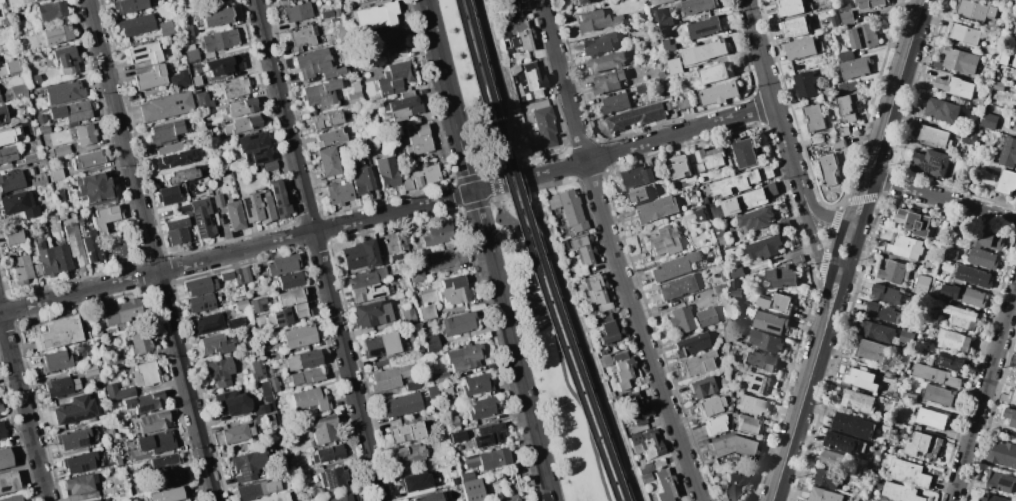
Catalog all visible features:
building: (34, 0)
building: (36, 0)
building: (2, 1)
building: (283, 1)
building: (202, 2)
building: (583, 2)
building: (659, 2)
building: (871, 4)
building: (129, 5)
building: (697, 6)
building: (517, 8)
building: (790, 8)
building: (52, 10)
building: (975, 11)
building: (297, 12)
building: (337, 13)
building: (182, 14)
building: (327, 14)
building: (845, 15)
building: (377, 16)
building: (213, 17)
building: (506, 17)
building: (661, 19)
building: (593, 20)
building: (616, 20)
building: (835, 21)
building: (137, 25)
building: (166, 27)
building: (704, 27)
building: (795, 28)
building: (186, 32)
building: (57, 34)
building: (963, 34)
building: (867, 35)
building: (524, 36)
building: (833, 37)
building: (303, 38)
building: (320, 38)
building: (855, 39)
building: (219, 40)
building: (390, 41)
building: (600, 44)
building: (668, 45)
building: (800, 49)
building: (709, 51)
road: (760, 52)
building: (145, 53)
building: (192, 53)
building: (846, 55)
building: (67, 60)
building: (960, 60)
building: (608, 62)
building: (1014, 62)
building: (229, 64)
building: (317, 65)
building: (12, 66)
building: (674, 66)
building: (855, 68)
building: (515, 69)
building: (192, 71)
building: (717, 73)
building: (661, 75)
building: (397, 77)
building: (151, 78)
building: (35, 79)
building: (180, 79)
building: (535, 80)
building: (200, 81)
building: (609, 81)
park: (487, 83)
building: (805, 84)
building: (664, 86)
building: (955, 86)
building: (998, 86)
building: (848, 87)
building: (235, 88)
building: (642, 88)
road: (895, 88)
building: (20, 92)
building: (64, 92)
road: (499, 92)
building: (321, 93)
building: (718, 93)
building: (828, 93)
building: (355, 99)
building: (204, 100)
building: (683, 101)
building: (615, 104)
building: (669, 105)
building: (167, 106)
building: (404, 106)
building: (848, 107)
building: (240, 108)
building: (943, 110)
building: (73, 111)
building: (3, 115)
building: (386, 115)
building: (635, 117)
building: (814, 118)
building: (42, 119)
building: (325, 119)
building: (989, 120)
building: (1008, 121)
building: (241, 126)
building: (545, 126)
building: (45, 129)
building: (166, 132)
building: (85, 134)
building: (11, 135)
rooftop solar panel: (255, 135)
building: (330, 137)
building: (935, 137)
building: (419, 138)
building: (816, 139)
building: (968, 139)
building: (253, 141)
building: (372, 143)
building: (212, 144)
building: (838, 145)
road: (787, 147)
building: (169, 149)
rooftop solar panel: (258, 150)
building: (62, 151)
building: (1004, 151)
building: (745, 153)
building: (8, 154)
building: (257, 156)
building: (31, 158)
building: (431, 158)
building: (87, 159)
building: (175, 159)
rooftop solar panel: (258, 159)
building: (709, 159)
rooftop solar panel: (935, 161)
building: (330, 162)
building: (929, 163)
building: (20, 164)
building: (270, 166)
building: (680, 167)
rooftop solar panel: (924, 168)
building: (827, 169)
building: (210, 171)
building: (387, 172)
road: (544, 172)
building: (179, 174)
building: (420, 177)
building: (638, 177)
building: (58, 178)
building: (361, 178)
building: (11, 180)
building: (39, 181)
building: (741, 181)
building: (1006, 183)
building: (95, 189)
building: (339, 193)
building: (643, 194)
building: (169, 195)
building: (192, 195)
building: (218, 200)
building: (228, 200)
building: (280, 200)
building: (751, 200)
road: (942, 200)
building: (706, 201)
building: (19, 204)
road: (860, 204)
building: (257, 207)
building: (184, 209)
building: (569, 209)
building: (657, 210)
building: (235, 215)
building: (700, 215)
road: (822, 215)
building: (62, 217)
building: (202, 217)
building: (106, 218)
building: (54, 219)
building: (756, 219)
building: (912, 222)
road: (826, 227)
traffic signals: (828, 228)
building: (177, 231)
building: (437, 234)
building: (720, 235)
building: (14, 236)
road: (812, 236)
building: (404, 237)
building: (988, 240)
building: (664, 241)
building: (74, 243)
building: (564, 245)
road: (836, 246)
building: (91, 247)
building: (765, 247)
building: (904, 248)
park: (120, 249)
building: (584, 249)
road: (151, 250)
road: (316, 250)
road: (487, 250)
road: (853, 251)
railway: (530, 252)
railway: (539, 252)
road: (615, 252)
building: (360, 255)
building: (950, 255)
building: (61, 257)
building: (398, 257)
building: (446, 258)
building: (983, 258)
building: (46, 260)
road: (524, 260)
building: (796, 260)
building: (284, 265)
building: (929, 266)
building: (673, 267)
building: (22, 270)
building: (37, 271)
road: (155, 272)
building: (891, 272)
building: (737, 273)
building: (381, 274)
building: (416, 274)
building: (226, 275)
building: (246, 275)
building: (723, 275)
building: (971, 276)
building: (238, 277)
building: (781, 277)
building: (361, 279)
building: (290, 281)
building: (200, 285)
building: (732, 285)
building: (921, 285)
building: (677, 288)
building: (259, 290)
building: (454, 290)
building: (721, 291)
building: (370, 292)
building: (945, 292)
building: (598, 293)
building: (736, 293)
building: (886, 294)
building: (968, 296)
building: (291, 297)
building: (205, 302)
building: (776, 303)
building: (242, 304)
building: (257, 304)
building: (122, 311)
building: (298, 311)
building: (592, 311)
building: (427, 312)
building: (374, 313)
building: (882, 313)
building: (226, 315)
building: (408, 316)
building: (278, 317)
building: (706, 317)
building: (735, 317)
building: (961, 317)
building: (726, 318)
building: (681, 319)
building: (234, 323)
building: (459, 323)
building: (770, 323)
building: (208, 324)
building: (609, 329)
road: (538, 330)
building: (725, 331)
building: (878, 332)
building: (58, 333)
building: (96, 333)
building: (734, 333)
road: (576, 334)
building: (299, 337)
building: (905, 337)
building: (139, 340)
building: (765, 341)
building: (953, 341)
building: (431, 343)
building: (691, 344)
building: (215, 345)
building: (380, 345)
building: (420, 347)
building: (871, 351)
building: (276, 356)
building: (465, 357)
park: (564, 358)
building: (754, 359)
building: (56, 361)
building: (116, 361)
building: (302, 361)
building: (605, 361)
building: (950, 362)
rooftop solar panel: (216, 364)
building: (698, 364)
building: (769, 364)
building: (624, 365)
building: (91, 371)
building: (258, 371)
building: (220, 372)
building: (145, 374)
building: (936, 375)
building: (306, 377)
building: (442, 377)
rooftop solar panel: (756, 377)
rooftop solar panel: (216, 378)
building: (390, 378)
building: (861, 379)
building: (1015, 380)
building: (274, 384)
building: (477, 384)
building: (759, 384)
road: (805, 384)
building: (412, 385)
building: (623, 385)
rooftop solar panel: (752, 385)
building: (61, 386)
building: (703, 387)
building: (448, 390)
building: (118, 392)
building: (266, 392)
building: (938, 395)
road: (983, 396)
building: (909, 397)
building: (1006, 397)
building: (310, 399)
building: (1013, 399)
building: (450, 400)
building: (858, 401)
building: (144, 403)
building: (232, 403)
rooftop solar panel: (127, 405)
building: (402, 405)
building: (750, 405)
building: (712, 406)
building: (1, 408)
road: (23, 408)
rooftop solar panel: (145, 408)
building: (483, 408)
road: (581, 408)
building: (638, 408)
building: (261, 409)
building: (67, 413)
building: (428, 416)
building: (1010, 417)
building: (932, 419)
building: (263, 421)
building: (153, 422)
building: (453, 423)
building: (746, 424)
building: (715, 425)
building: (853, 425)
building: (2, 430)
building: (325, 430)
building: (406, 432)
building: (238, 434)
building: (490, 434)
building: (112, 435)
building: (458, 436)
building: (78, 437)
building: (1015, 437)
building: (160, 441)
building: (840, 442)
building: (647, 443)
building: (919, 444)
building: (731, 446)
building: (934, 451)
building: (410, 453)
building: (329, 454)
building: (1003, 455)
building: (135, 457)
building: (5, 458)
building: (495, 458)
building: (868, 458)
building: (832, 459)
building: (125, 460)
building: (164, 460)
building: (472, 461)
building: (83, 462)
building: (119, 462)
building: (659, 463)
building: (284, 464)
rooftop solar panel: (83, 467)
building: (245, 467)
building: (646, 467)
rooftop solar panel: (244, 472)
building: (908, 474)
building: (468, 476)
building: (169, 477)
building: (336, 477)
building: (647, 478)
building: (827, 478)
building: (304, 479)
rooftop solar panel: (327, 479)
building: (415, 482)
building: (1001, 482)
building: (8, 483)
building: (81, 484)
building: (734, 484)
building: (666, 485)
building: (261, 489)
building: (473, 490)
building: (898, 493)
building: (170, 494)
building: (823, 495)
building: (343, 497)
building: (427, 497)
building: (12, 498)
building: (276, 498)
building: (993, 498)
building: (515, 499)
building: (95, 500)

